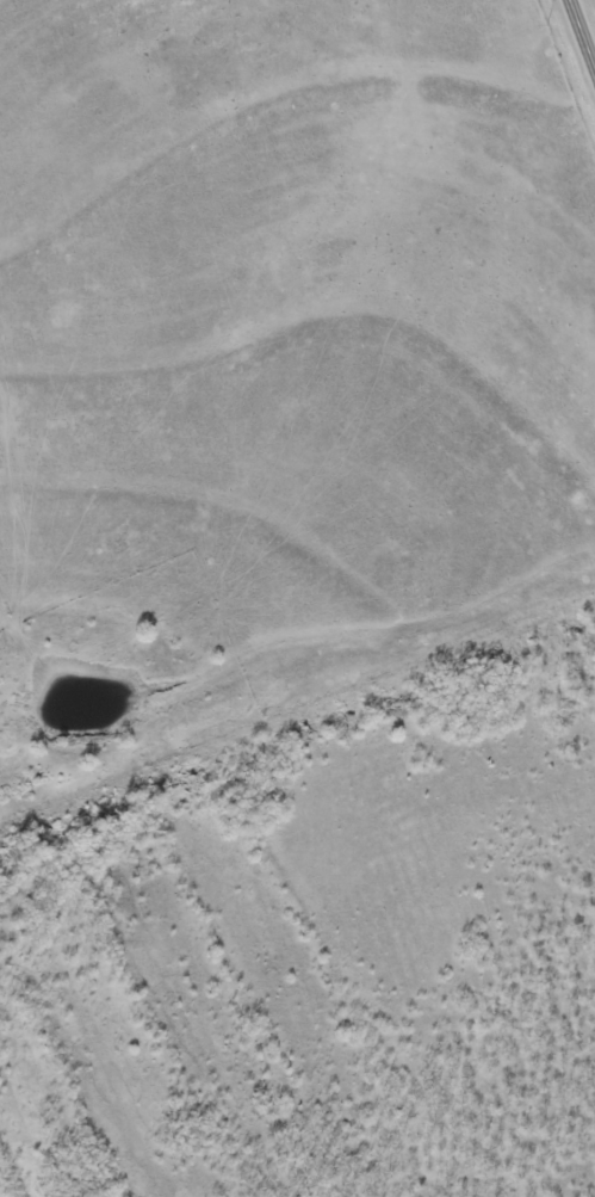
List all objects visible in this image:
road: (581, 35)

